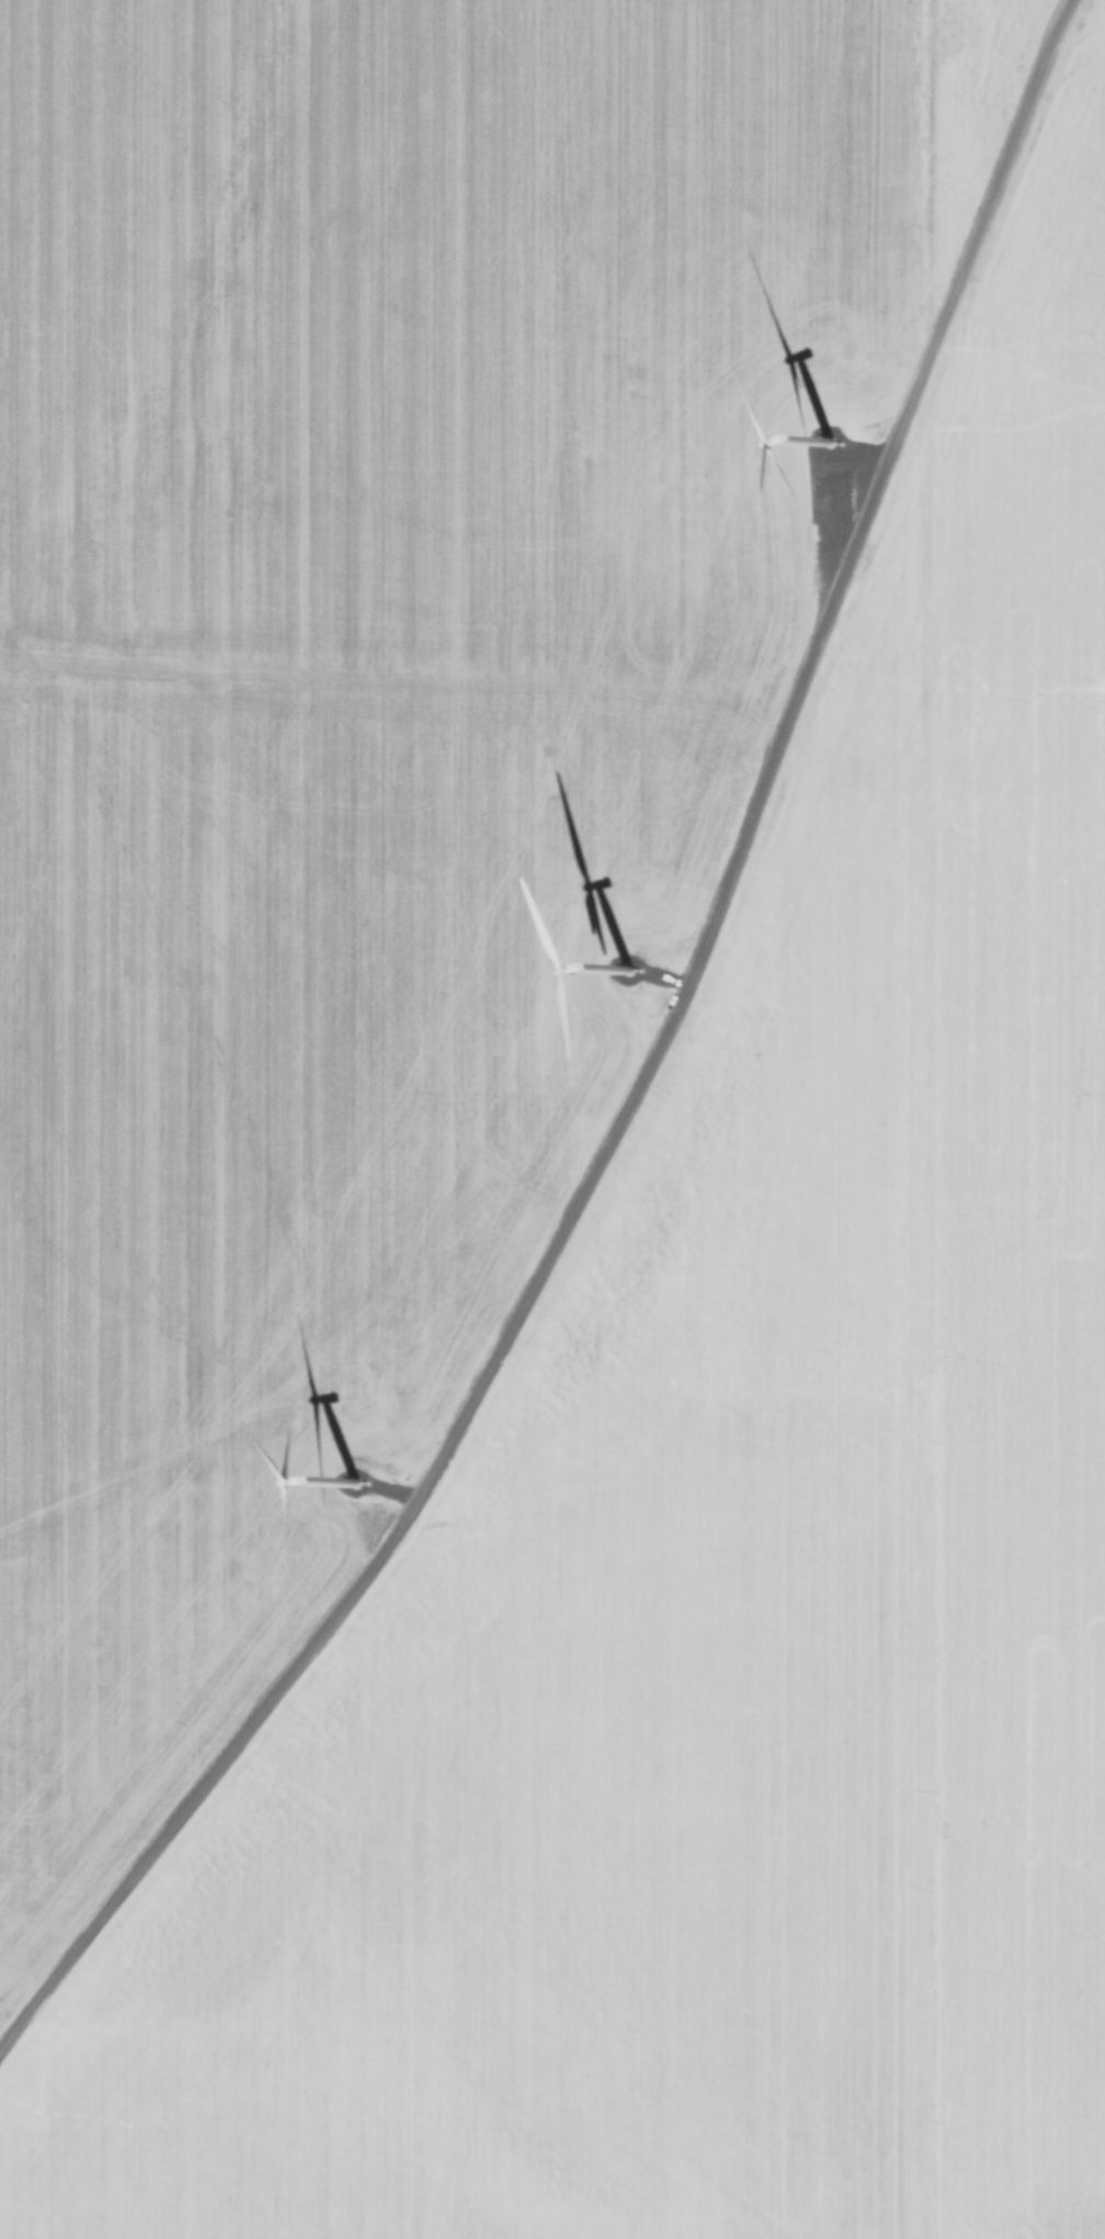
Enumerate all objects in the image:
wind turbine: (820, 453)
wind turbine: (616, 984)
road: (630, 1073)
wind turbine: (326, 1494)

